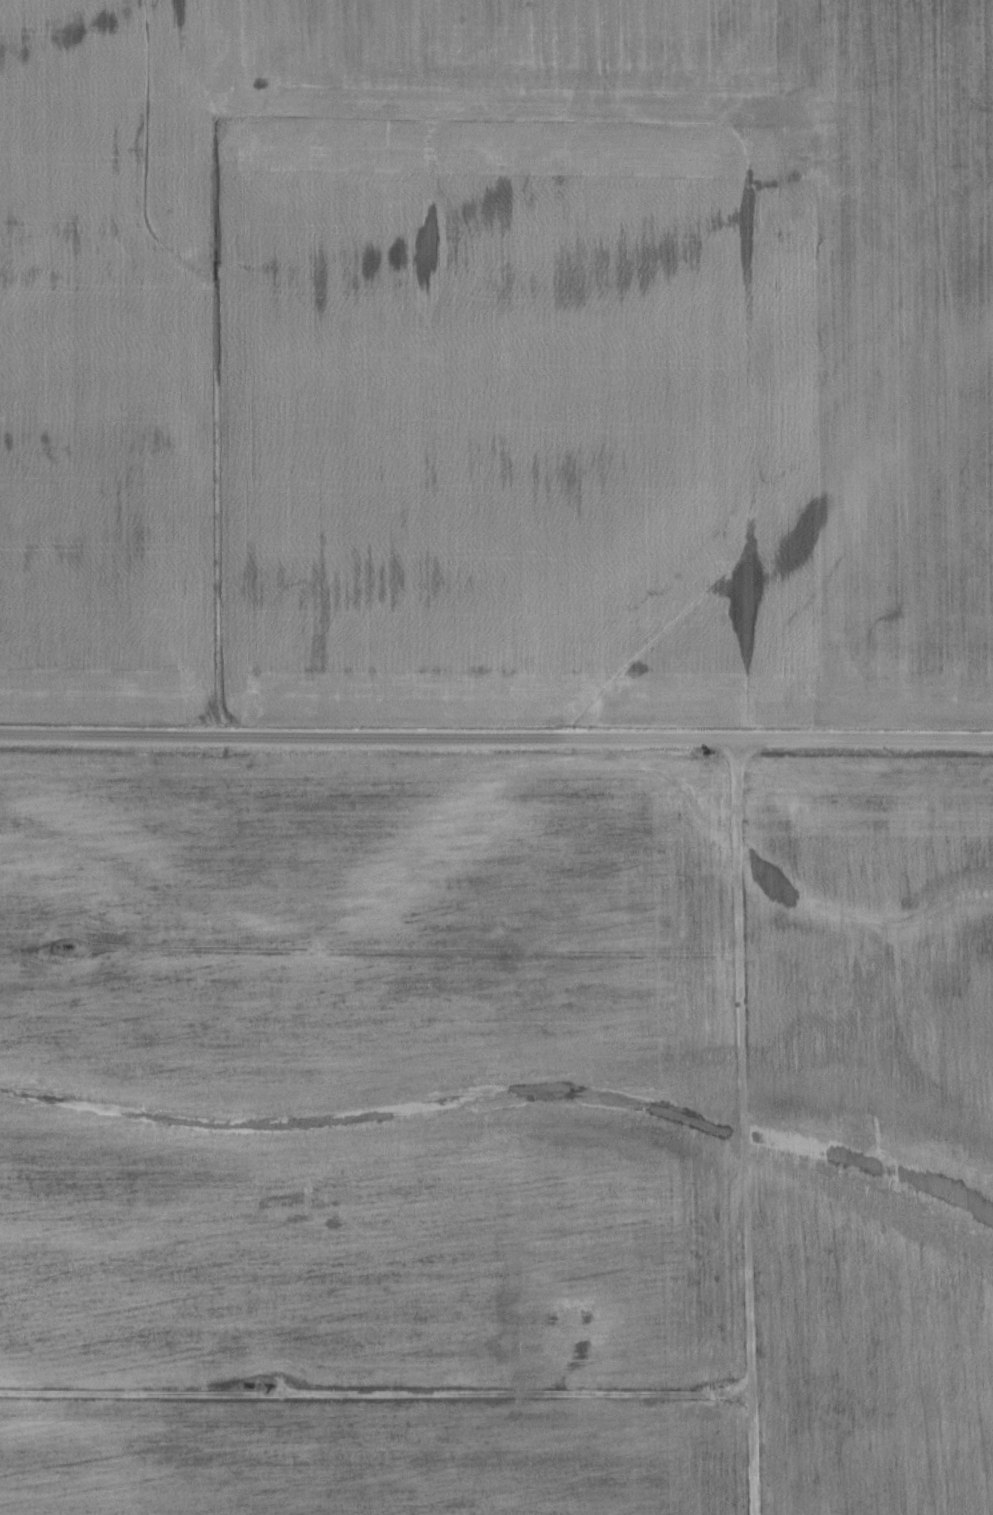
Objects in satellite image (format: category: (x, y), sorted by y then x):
road: (496, 737)
road: (745, 1127)

